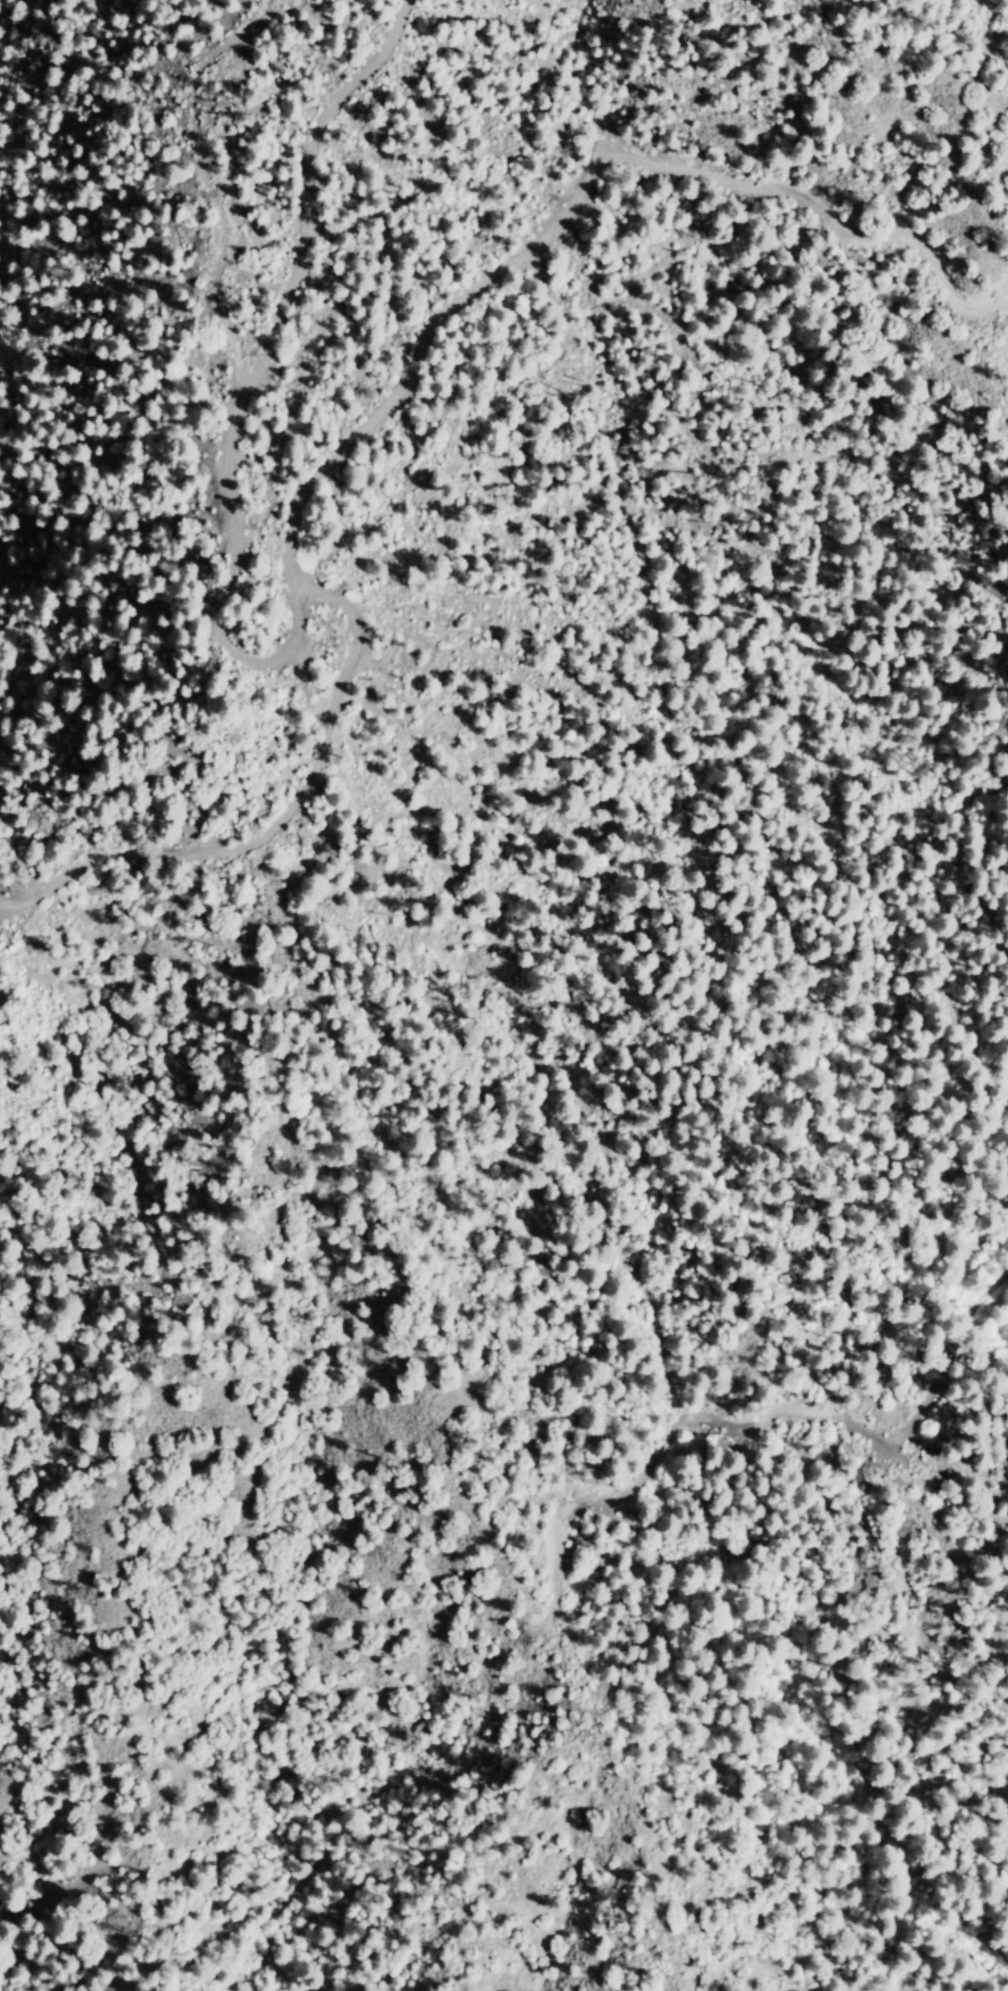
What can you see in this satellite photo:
road: (543, 198)
road: (166, 569)

